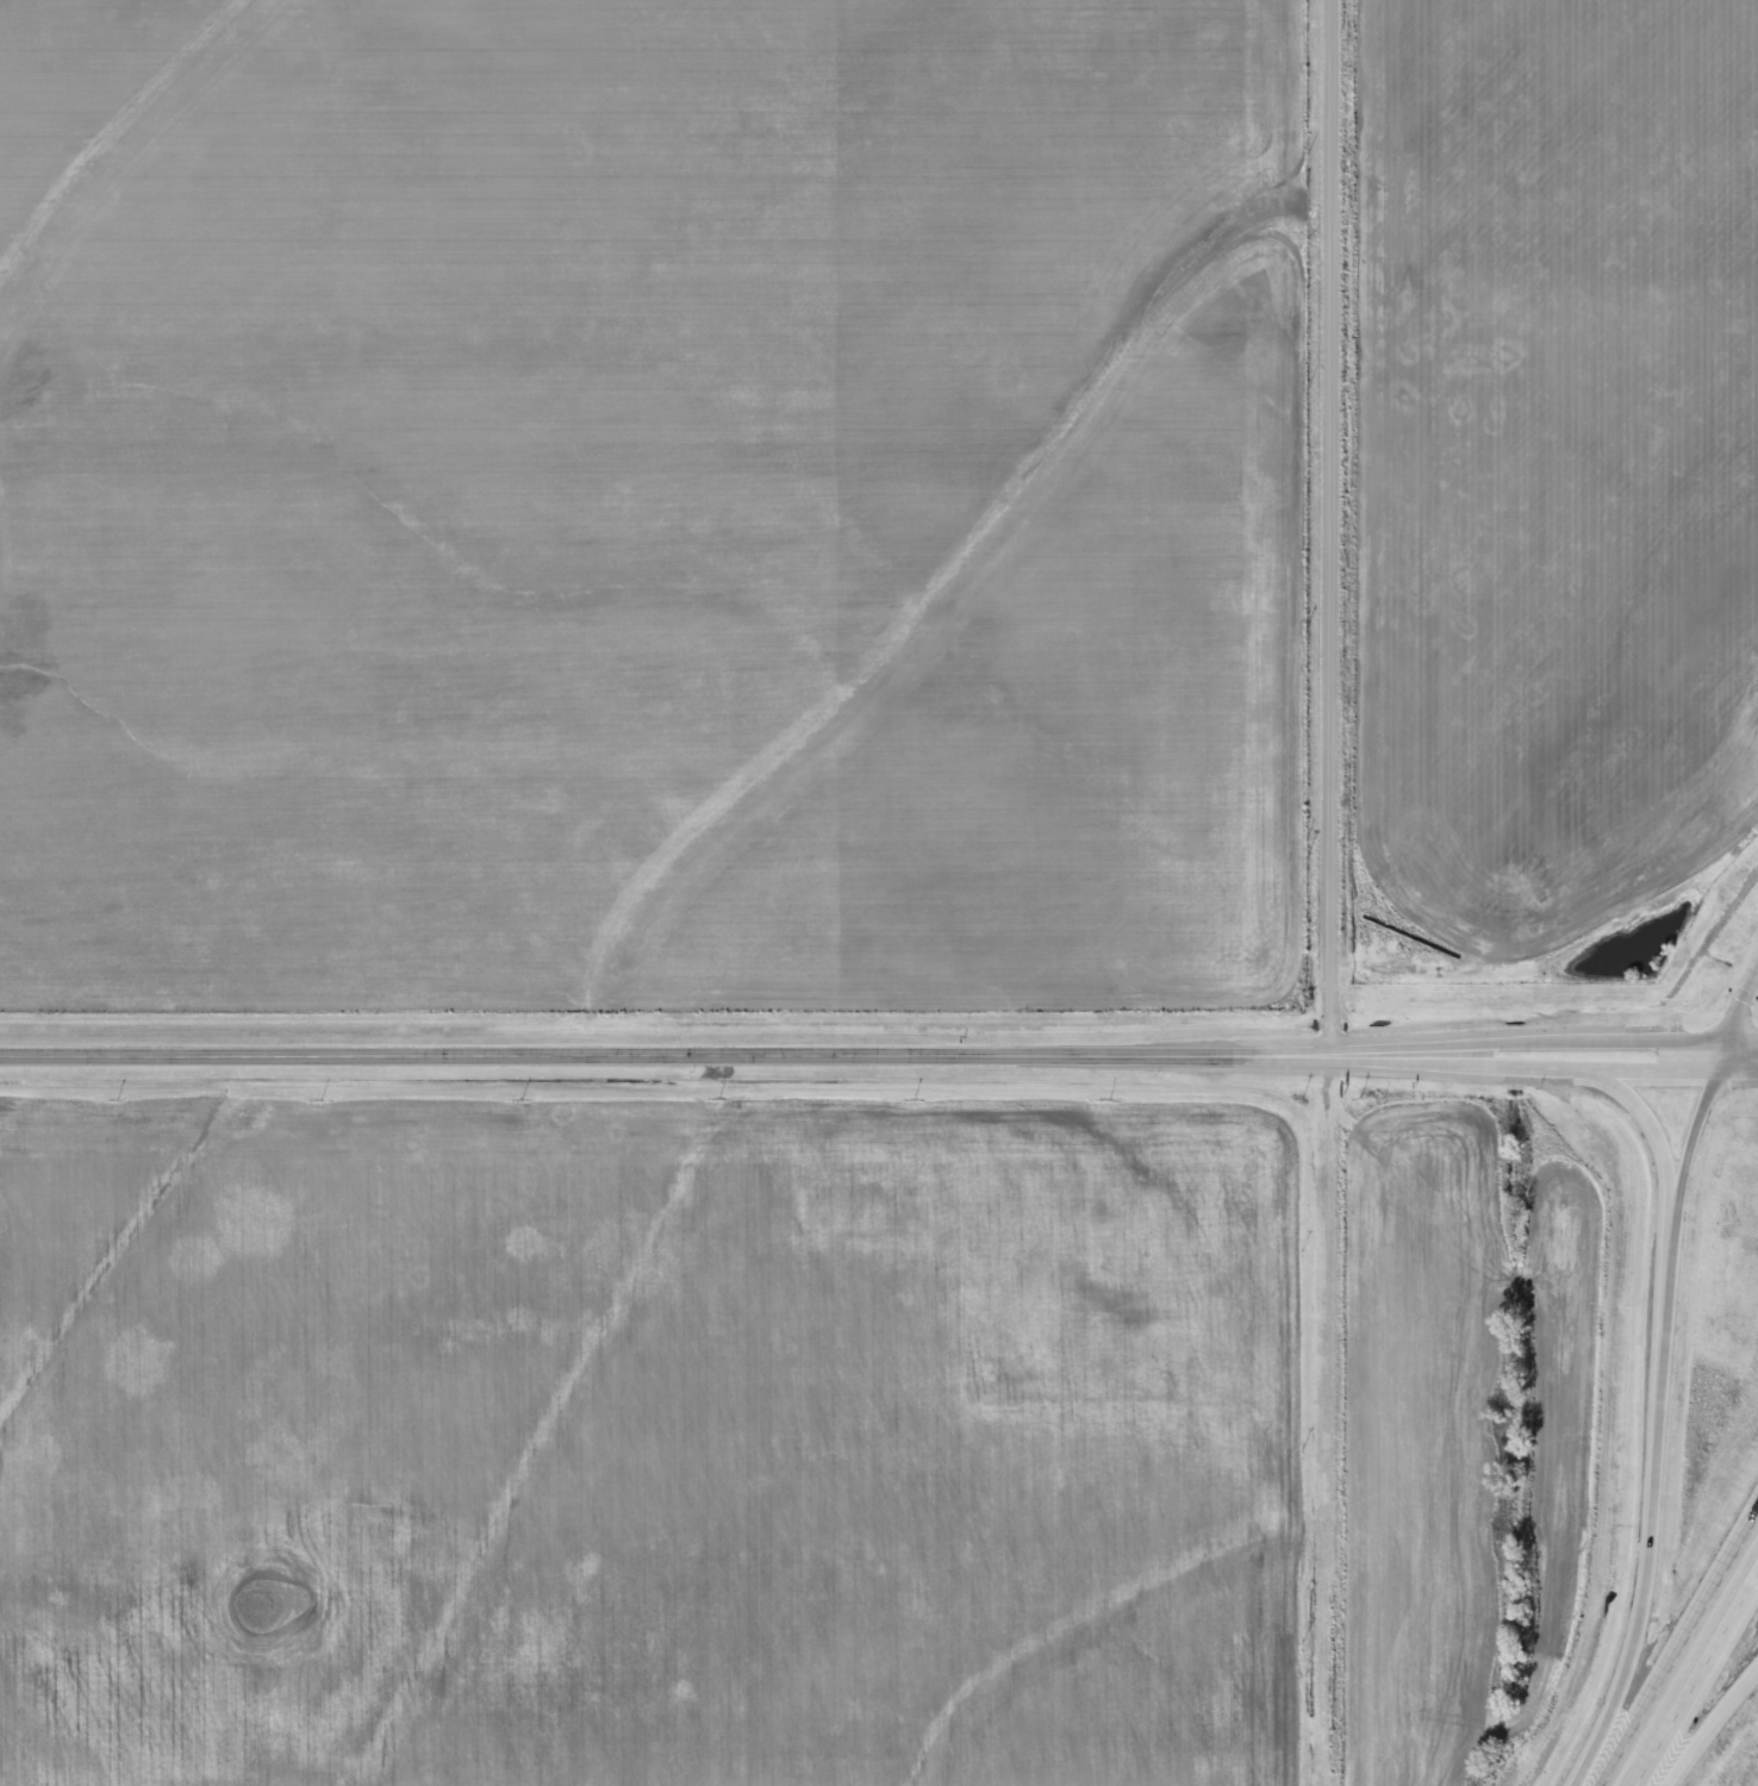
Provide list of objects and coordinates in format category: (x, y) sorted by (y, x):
road: (1334, 523)
road: (1738, 1003)
road: (1490, 1042)
road: (1738, 1042)
road: (1714, 1056)
road: (631, 1057)
road: (1485, 1067)
road: (1733, 1072)
road: (1601, 1079)
road: (1651, 1122)
road: (1671, 1186)
road: (1658, 1419)
road: (1679, 1650)
road: (1696, 1678)
road: (1722, 1705)
road: (1673, 1767)
road: (1579, 1774)

